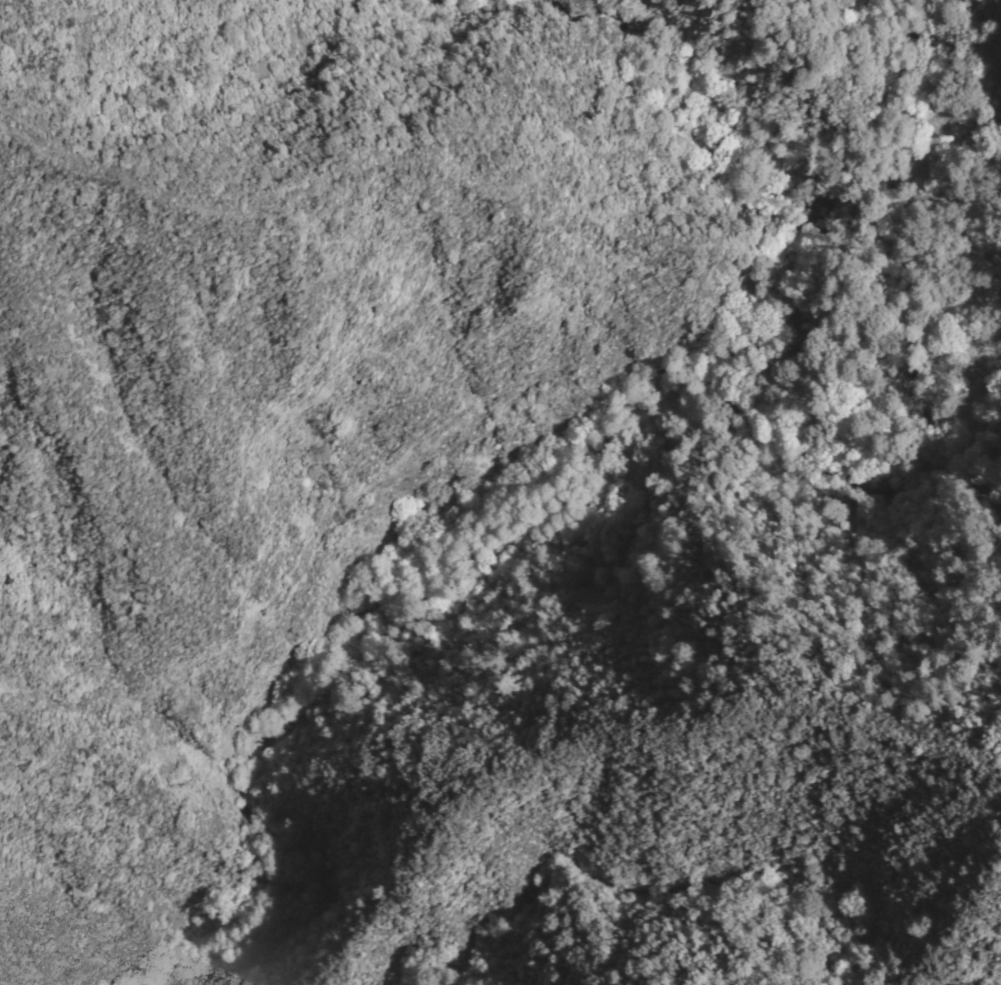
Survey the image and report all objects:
road: (969, 159)
road: (750, 651)

